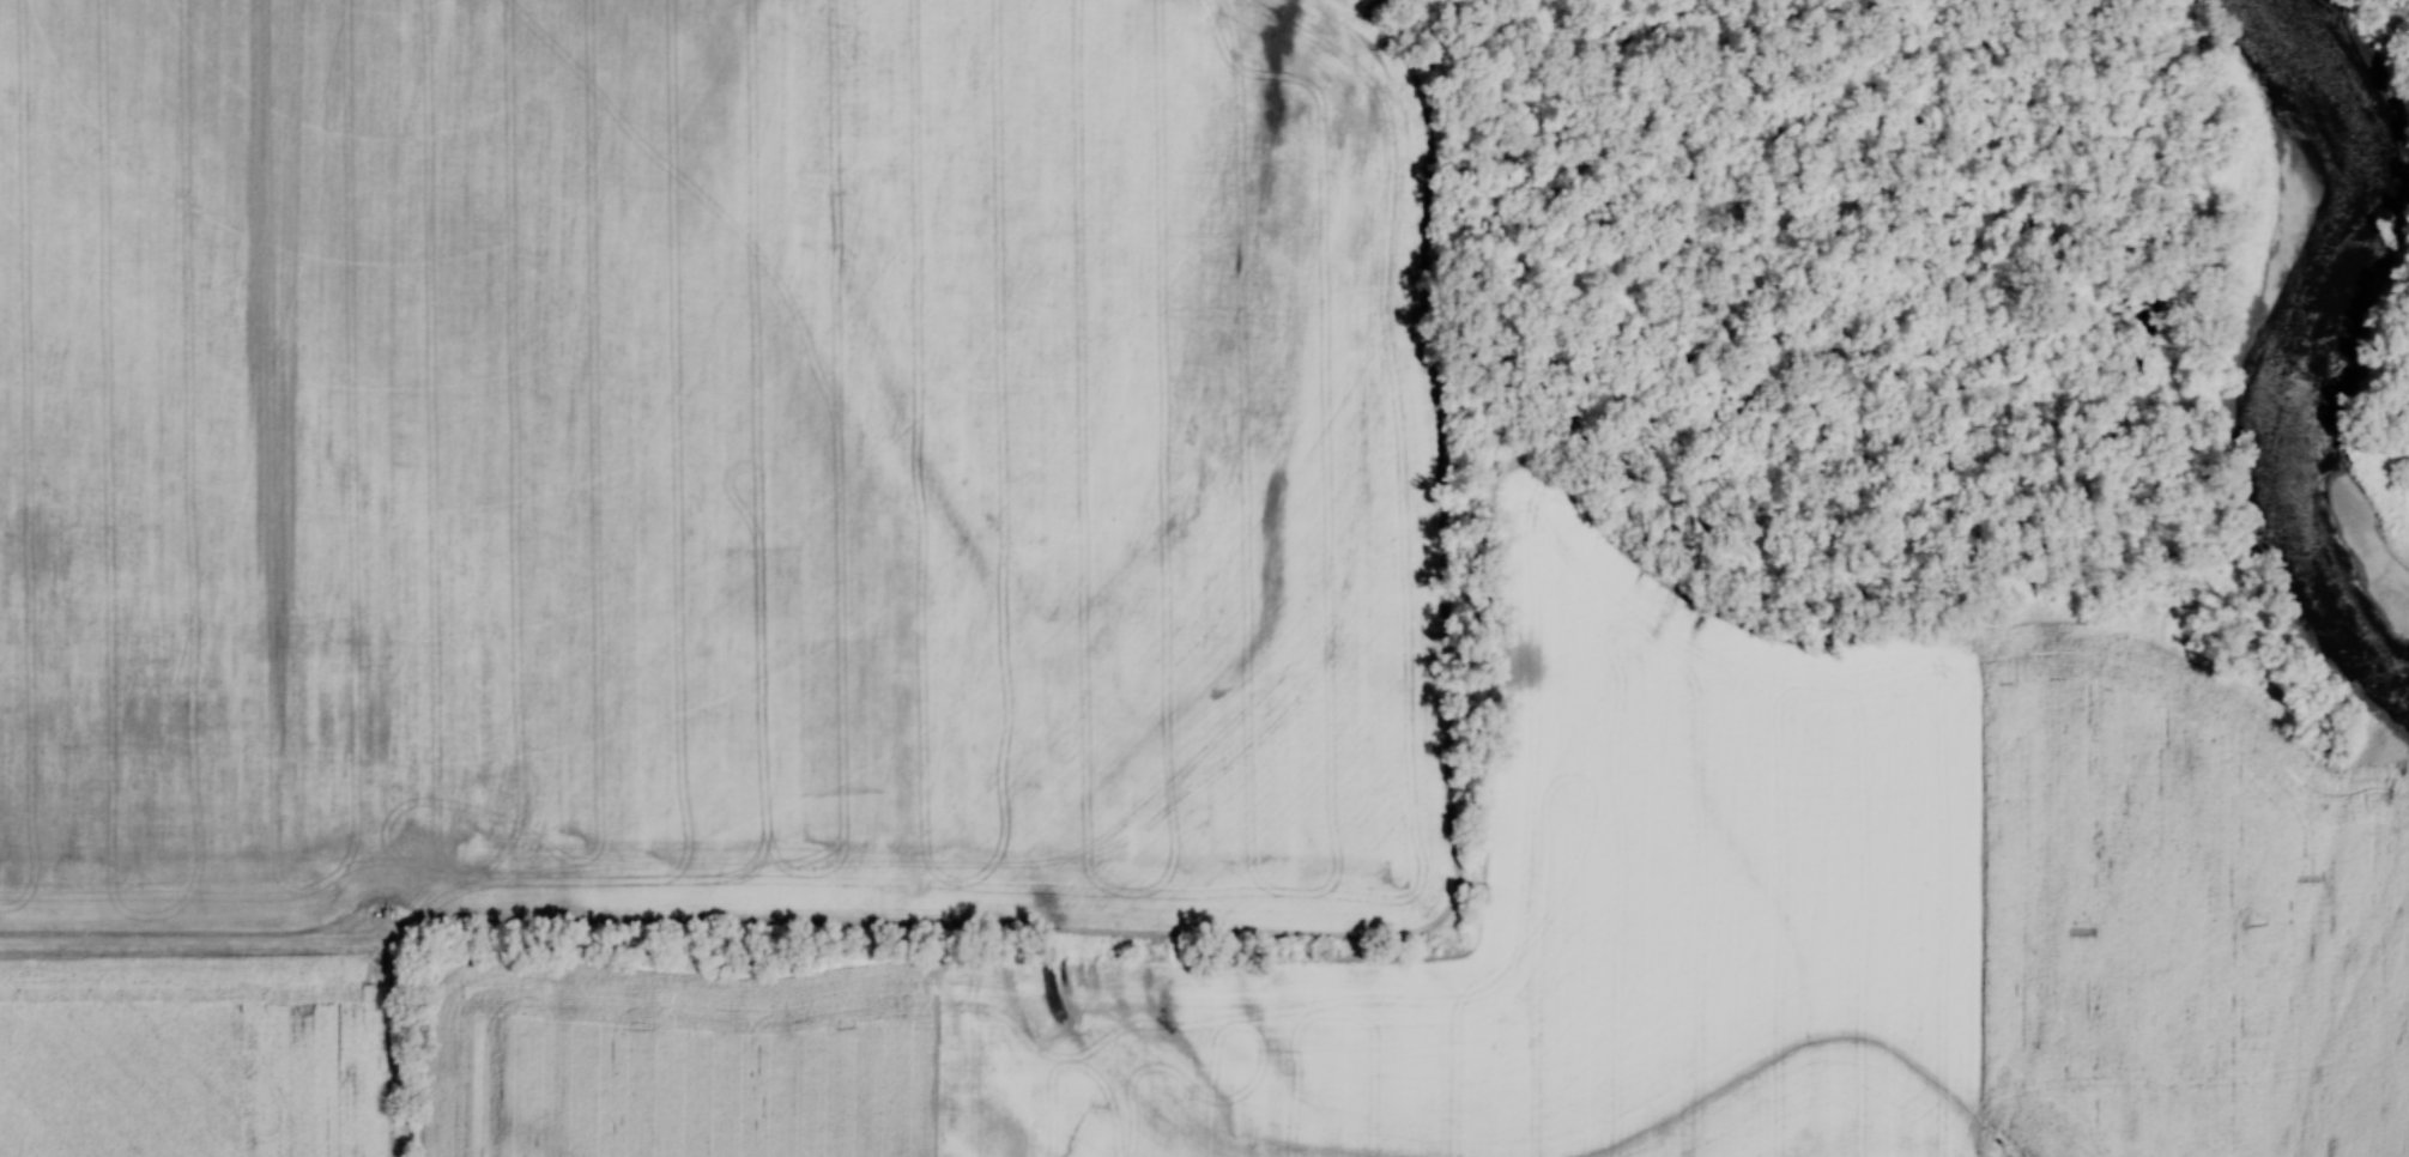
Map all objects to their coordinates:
river: (2312, 316)

